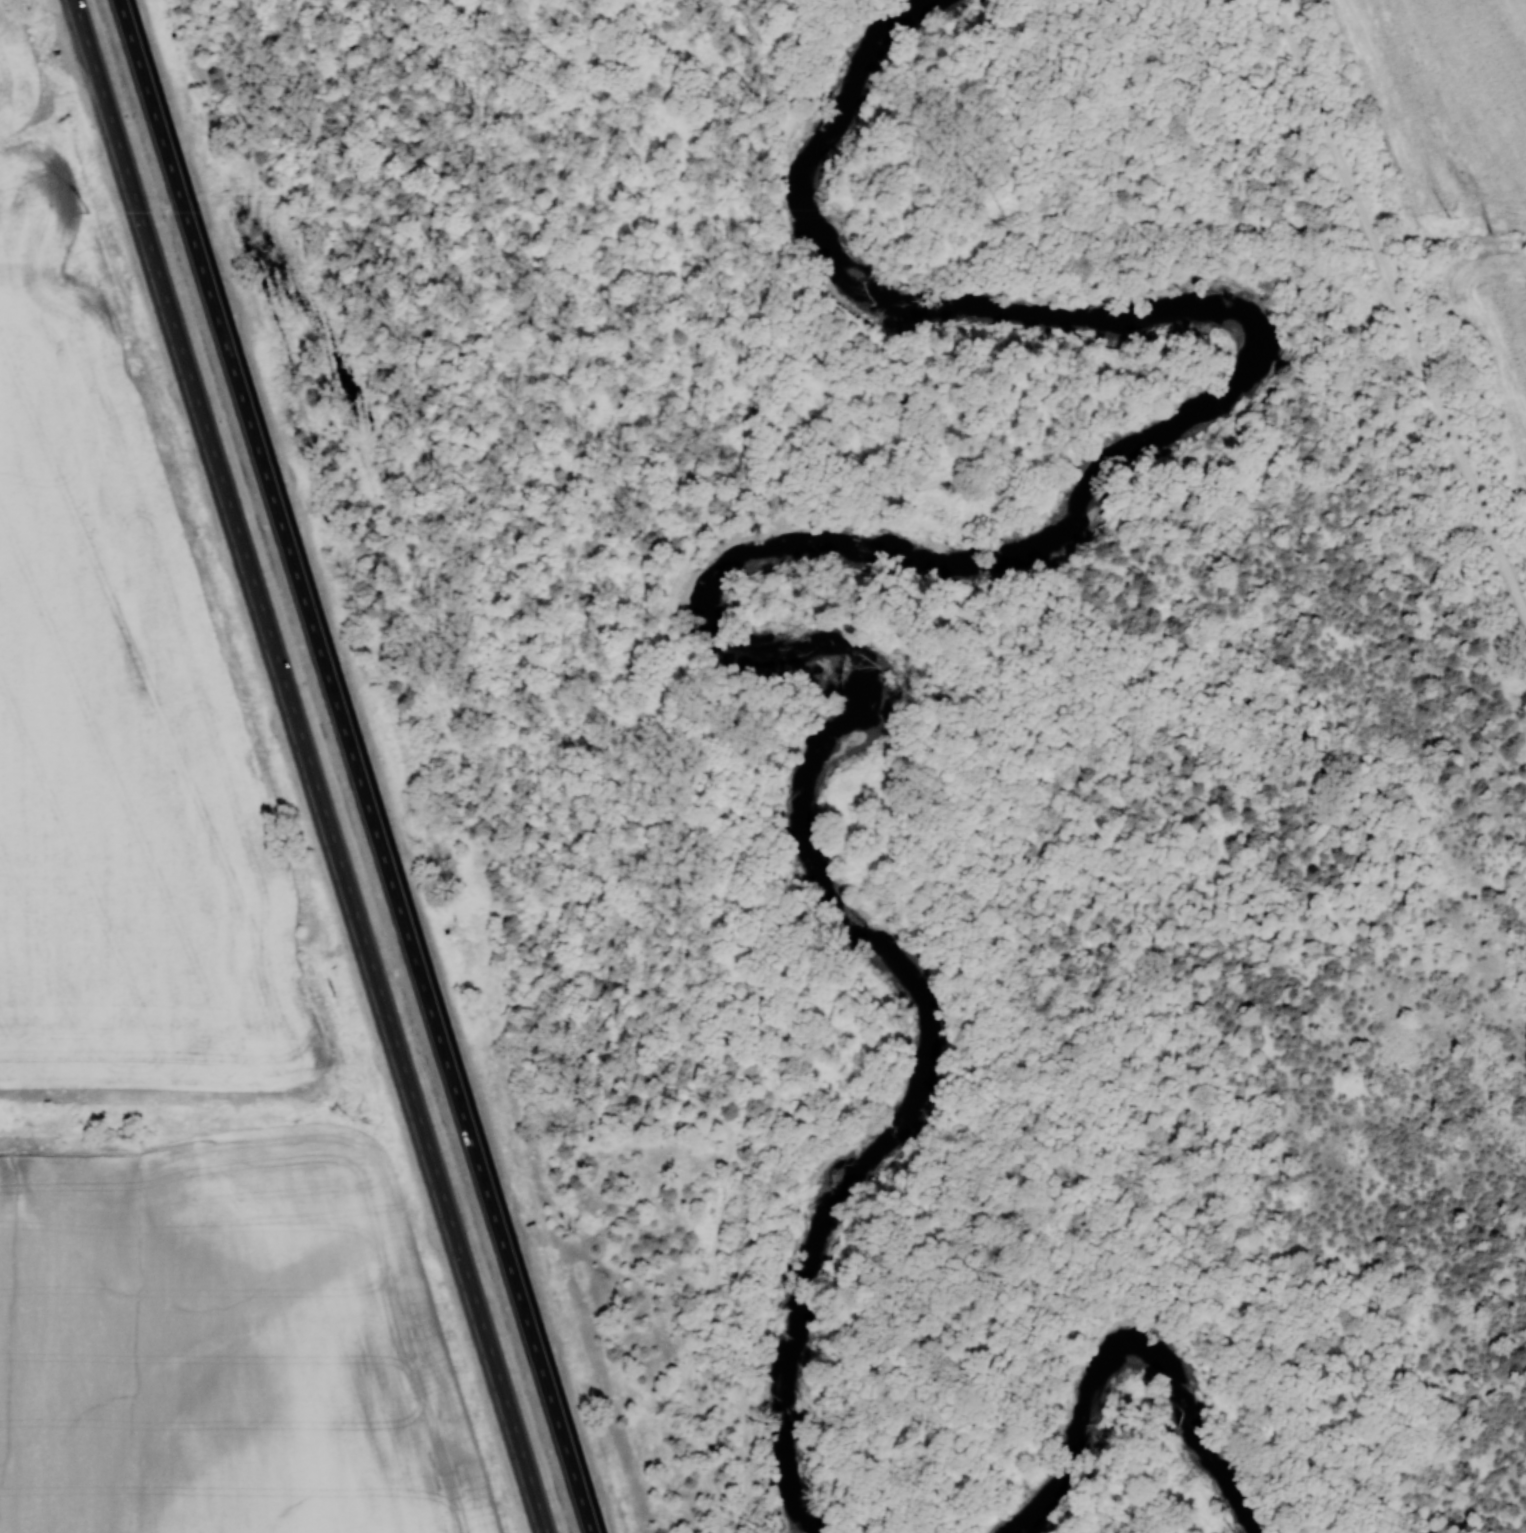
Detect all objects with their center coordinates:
park: (1460, 155)
power tower: (86, 212)
power tower: (540, 213)
power tower: (1000, 214)
power tower: (1447, 215)
road: (1303, 224)
road: (1399, 307)
river: (797, 551)
road: (918, 664)
road: (570, 710)
park: (818, 735)
road: (310, 766)
road: (354, 766)
river: (1135, 1351)
road: (726, 1531)

